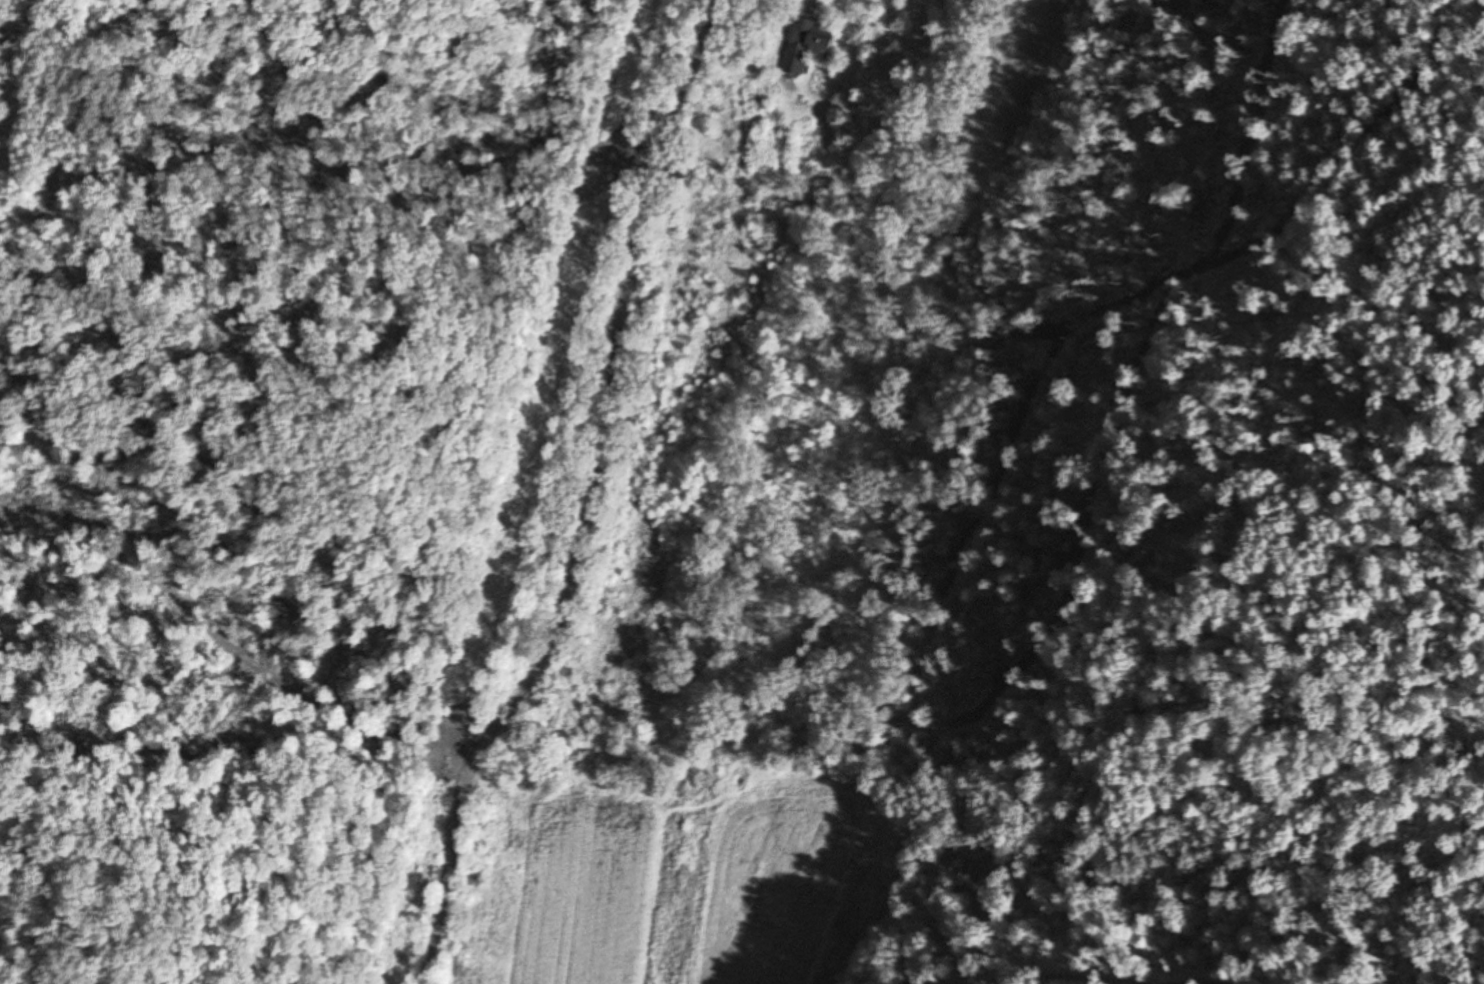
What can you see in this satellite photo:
building: (811, 48)
road: (575, 493)

